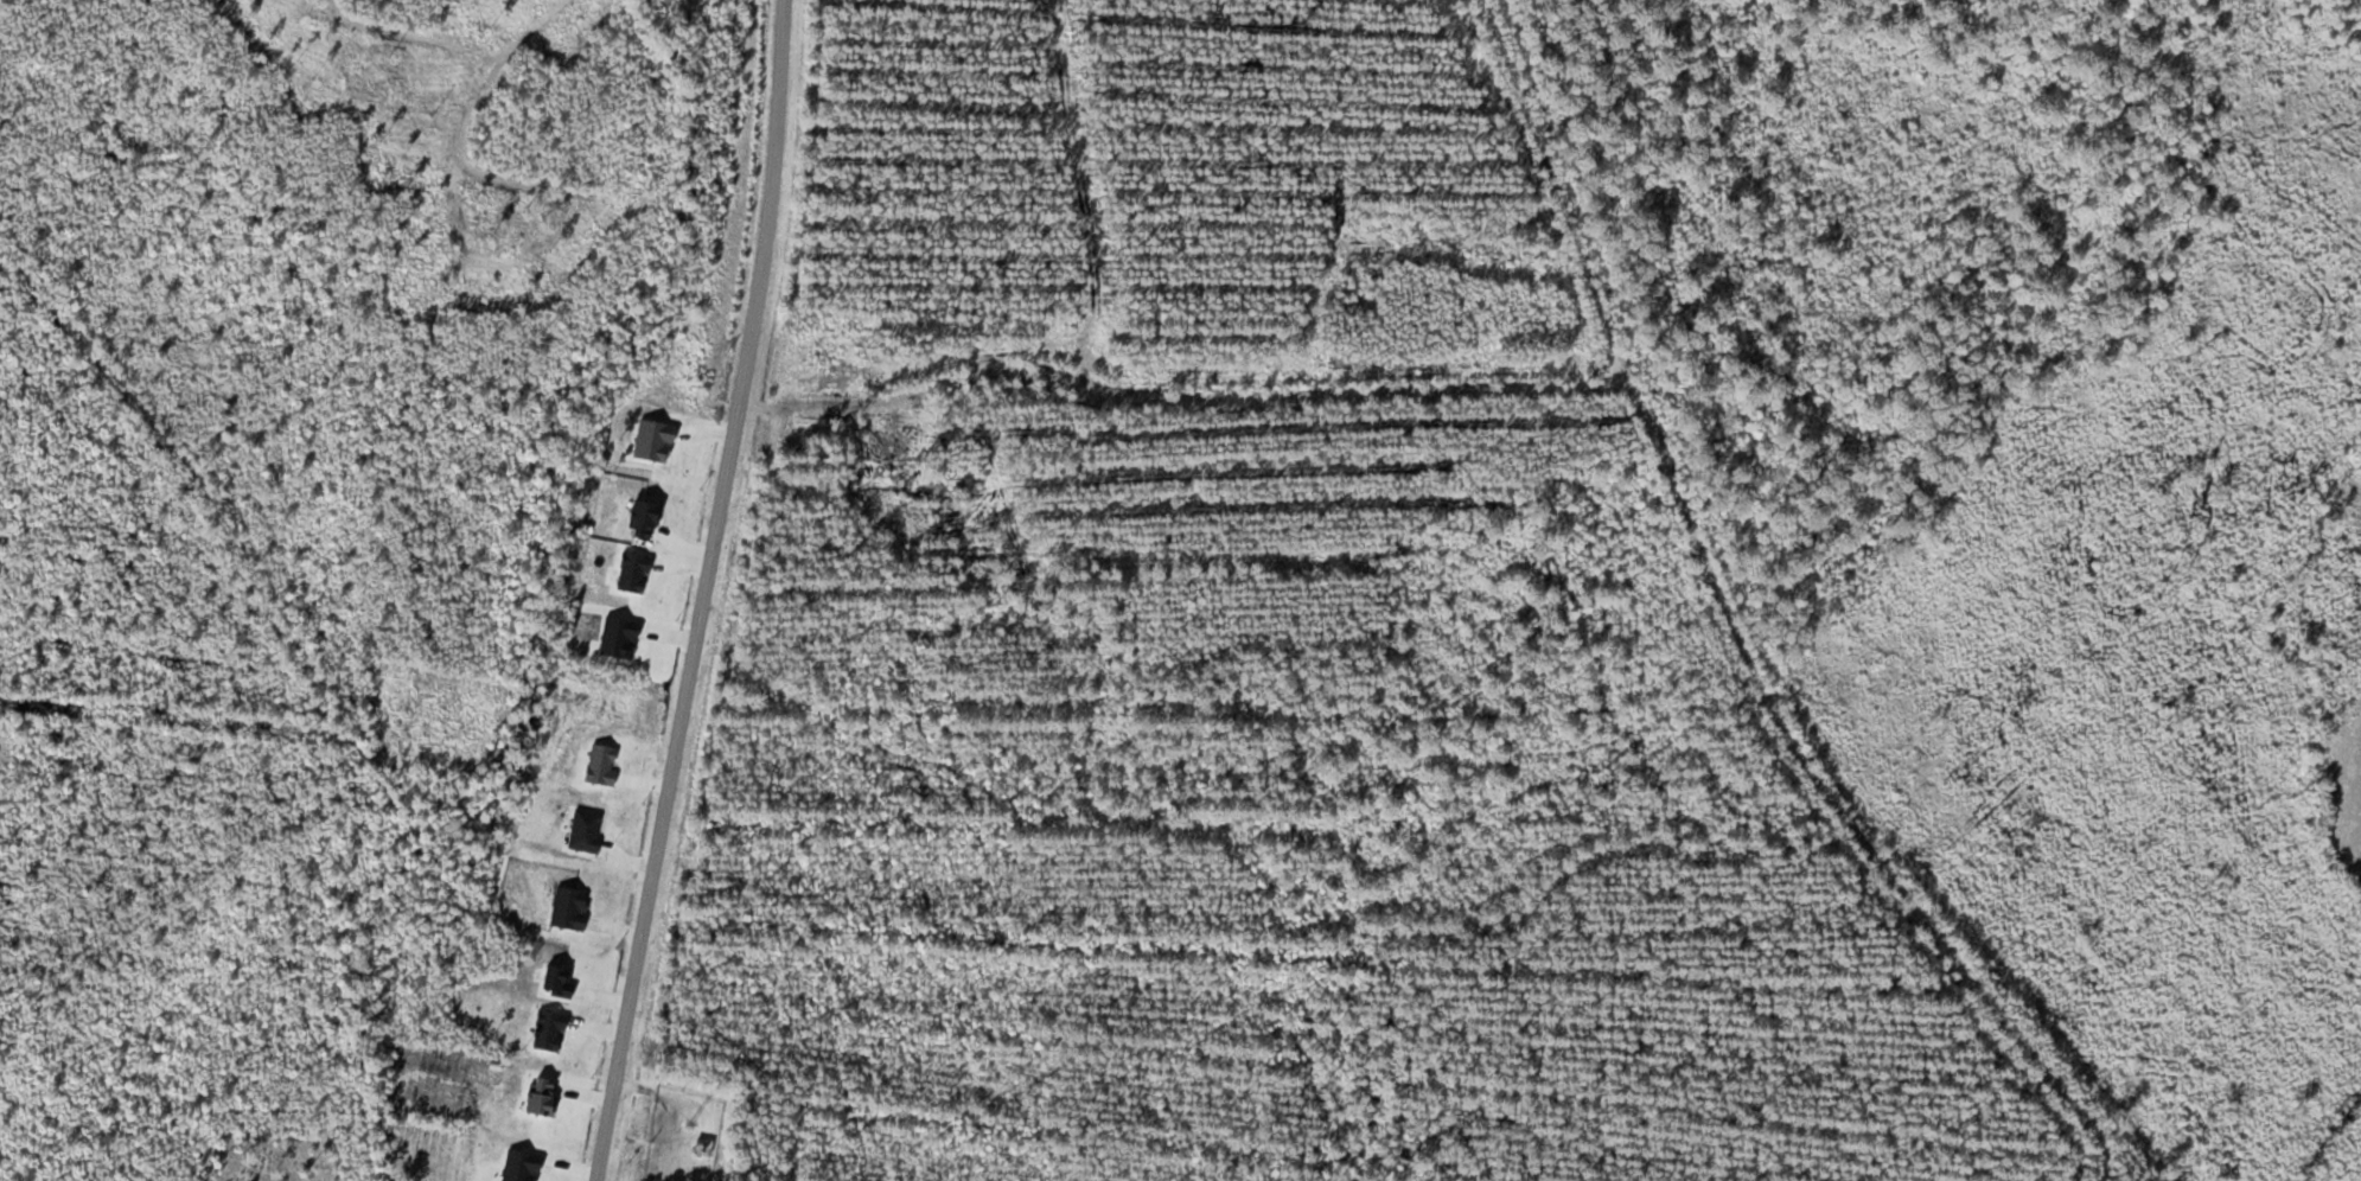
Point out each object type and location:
road: (727, 593)
road: (1738, 620)
building: (700, 1147)

